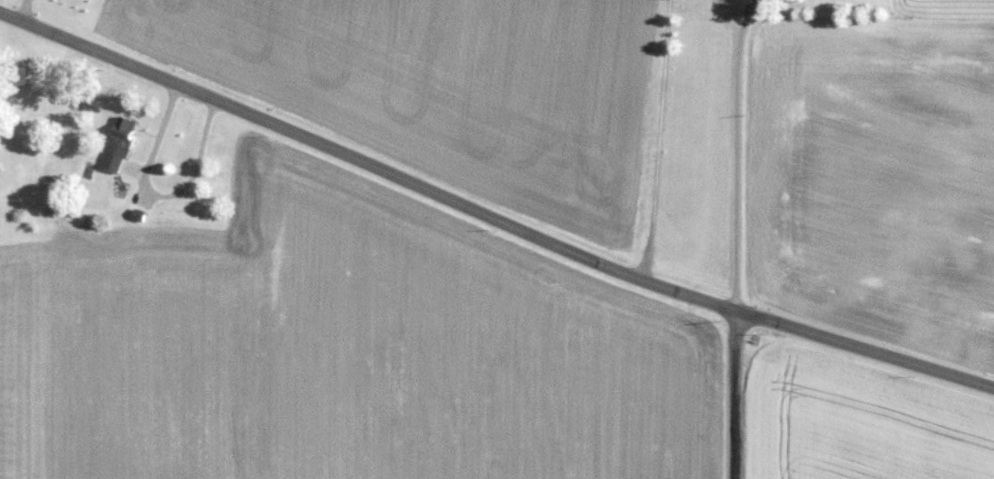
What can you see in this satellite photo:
road: (21, 10)
road: (656, 140)
building: (124, 143)
road: (733, 154)
road: (155, 195)
road: (490, 217)
road: (733, 395)

